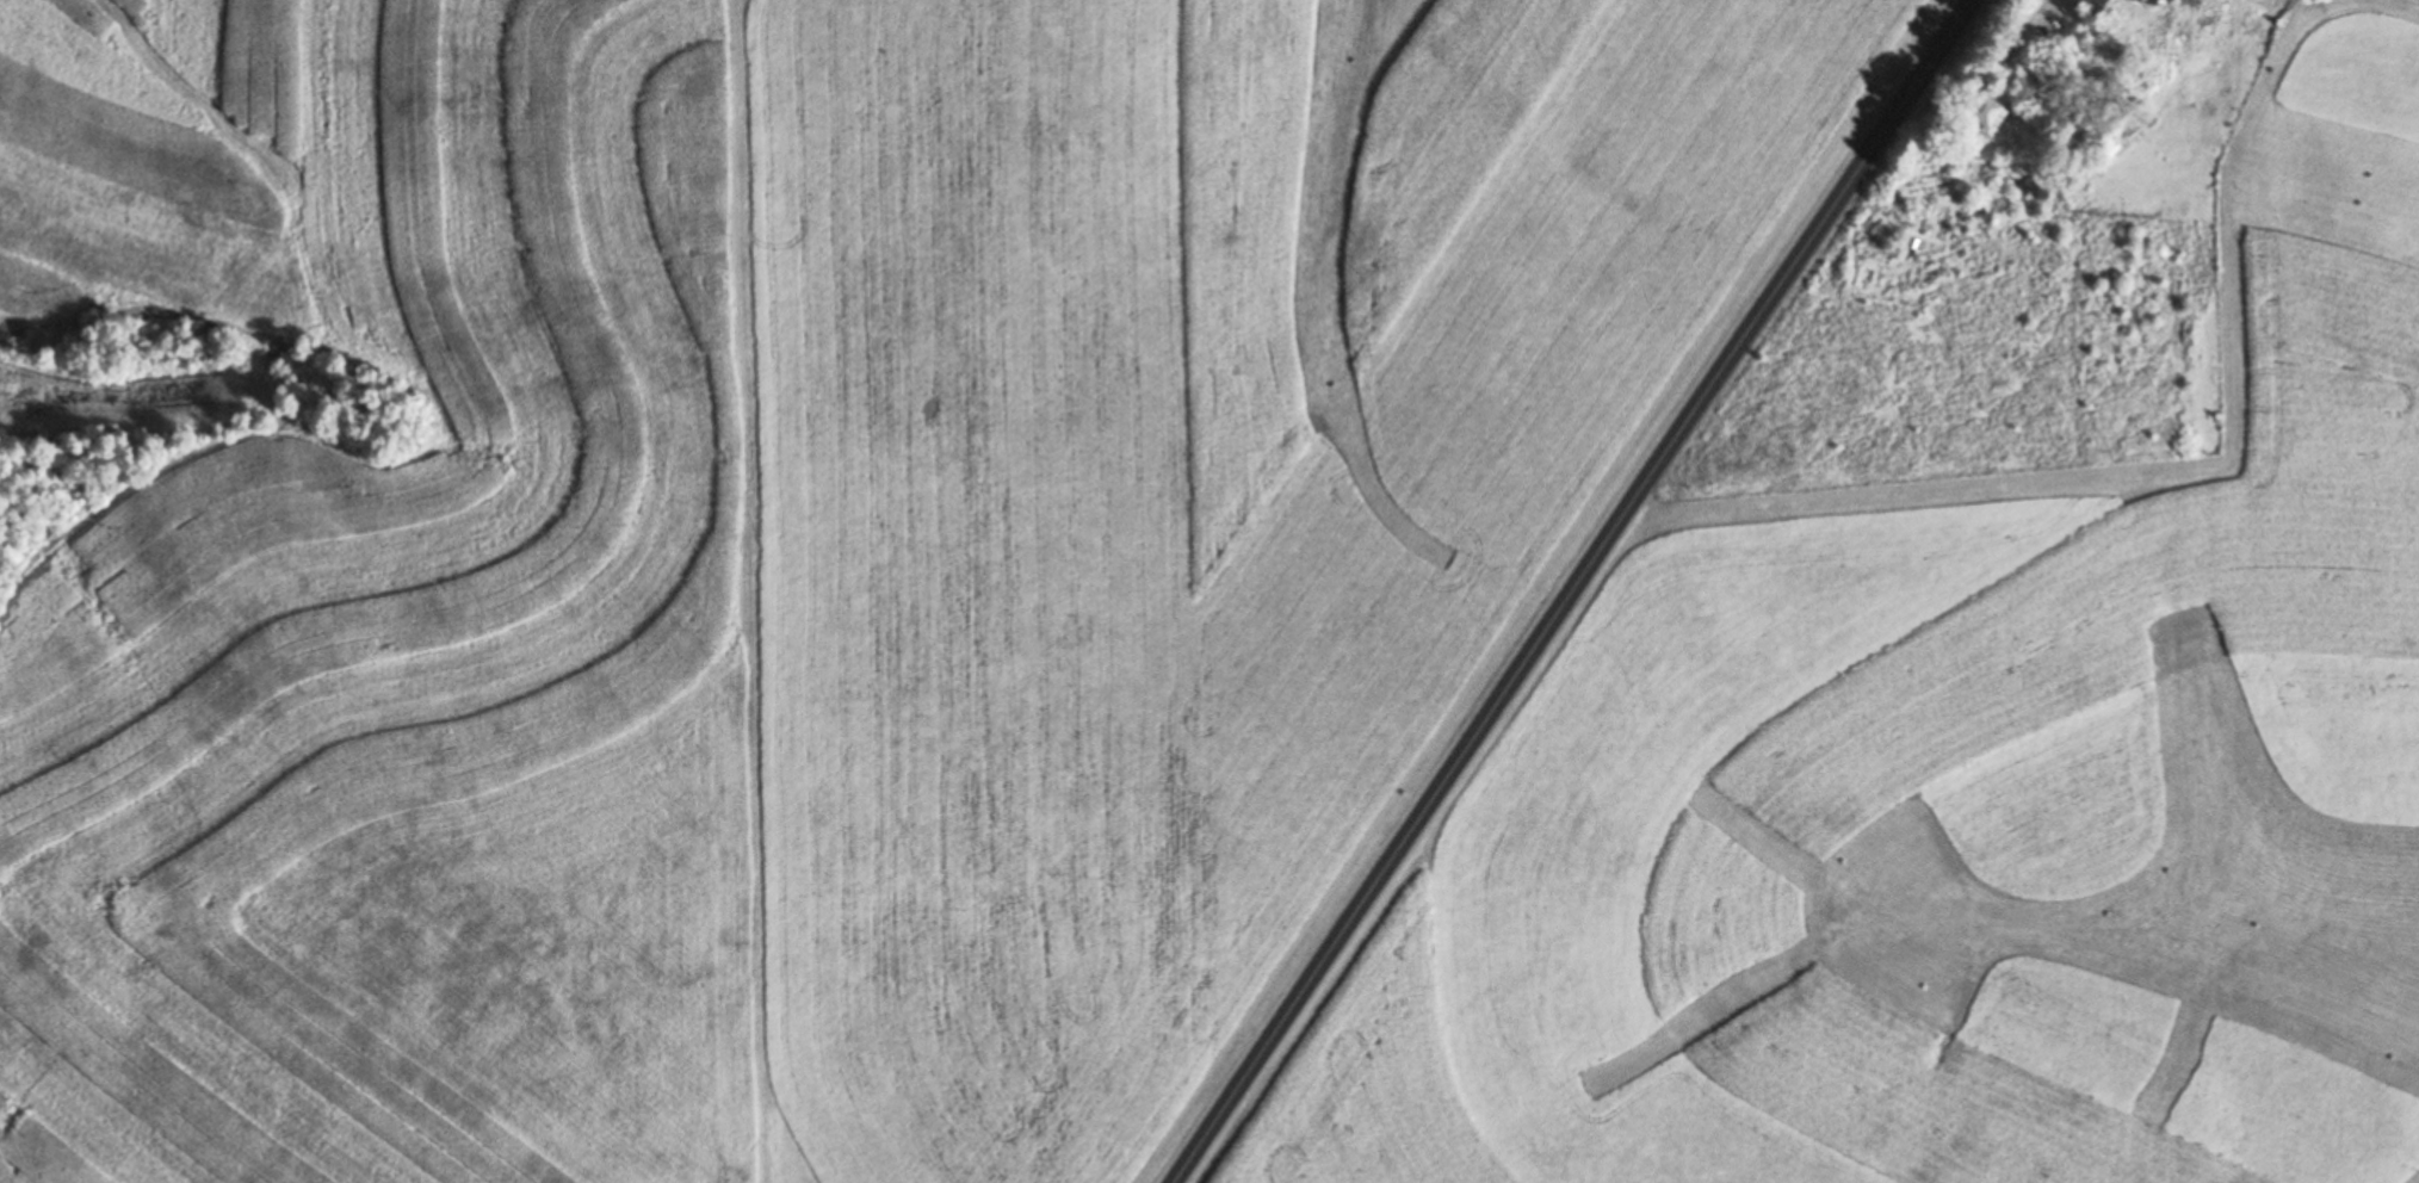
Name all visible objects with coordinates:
building: (2095, 5)
building: (1979, 113)
crop: (156, 159)
crop: (104, 396)
crop: (1199, 469)
crop: (414, 472)
road: (1569, 591)
crop: (1941, 733)
crop: (552, 946)
crop: (203, 1063)

